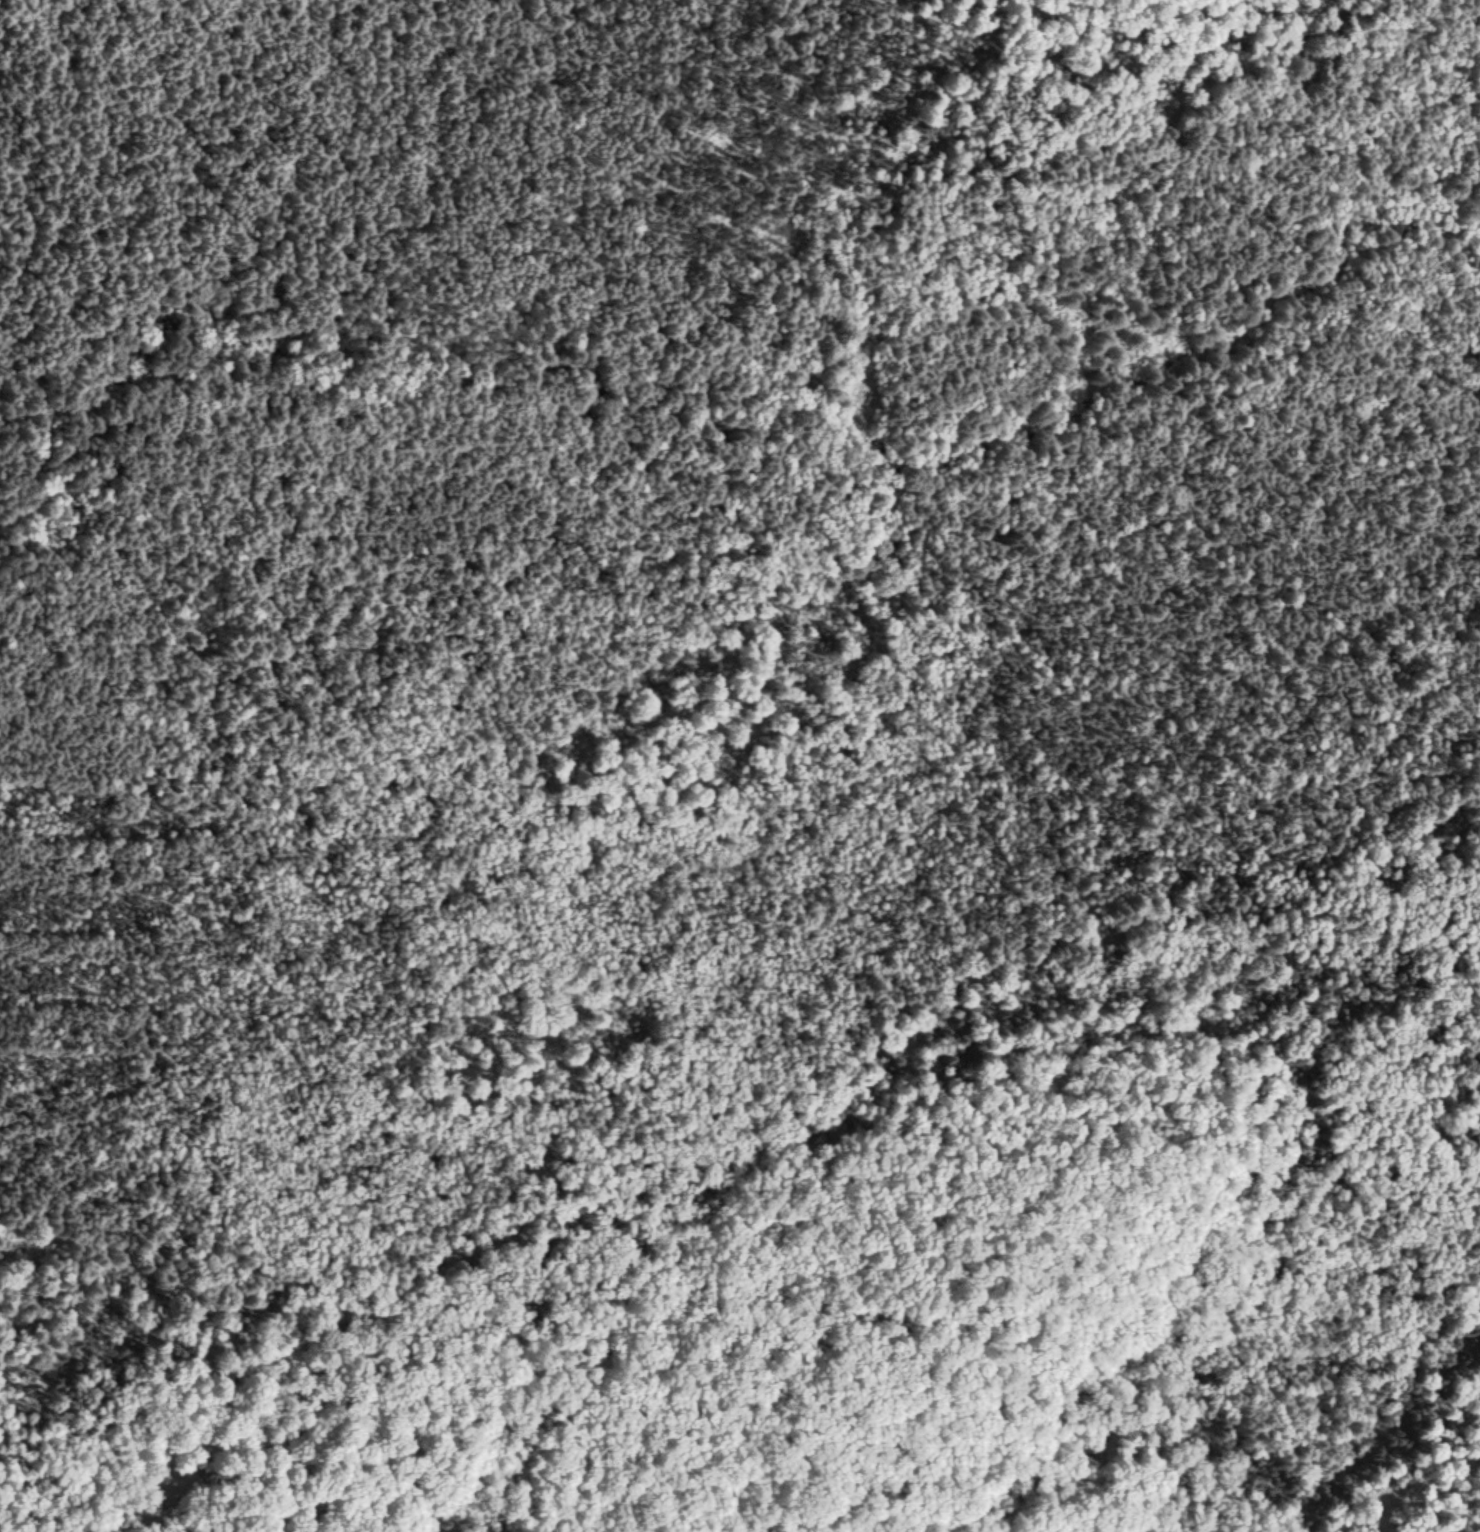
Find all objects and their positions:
river: (701, 424)

